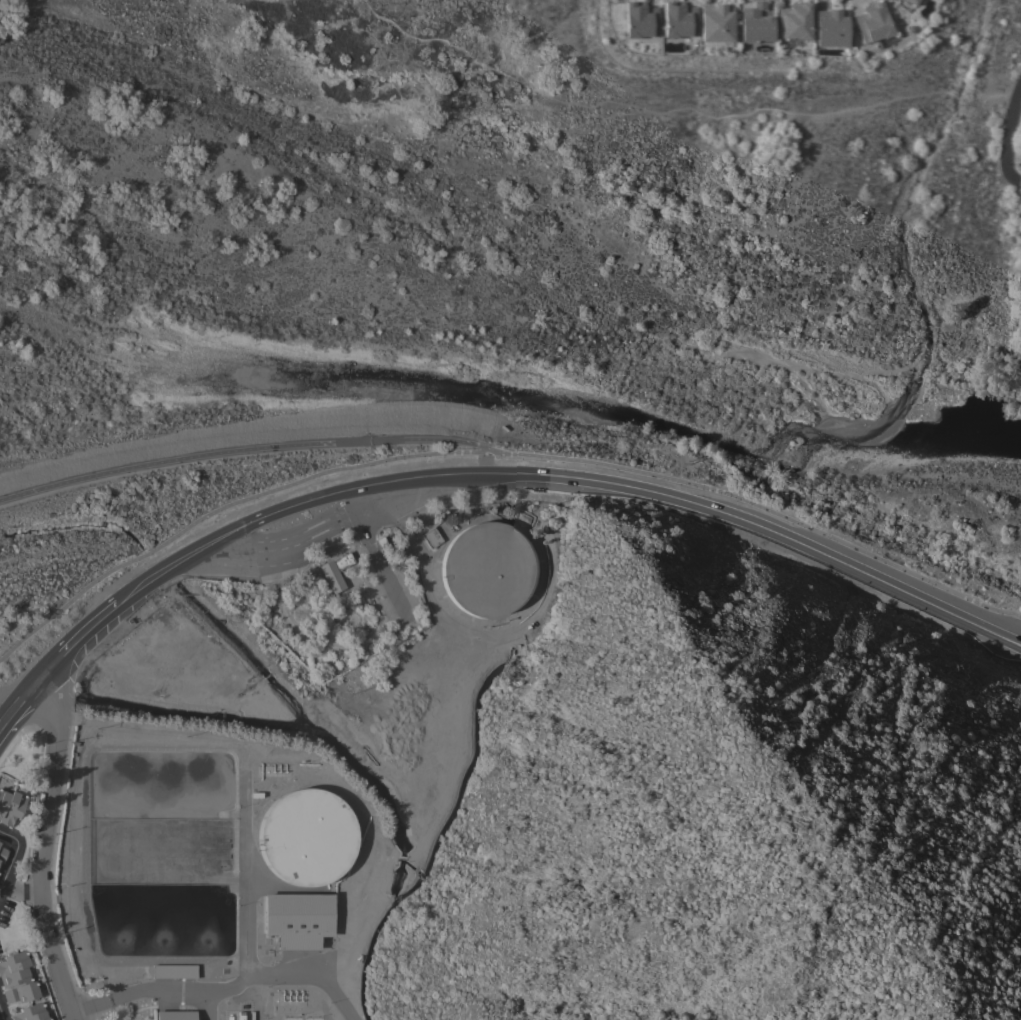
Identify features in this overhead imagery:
building: (912, 2)
building: (641, 20)
building: (679, 20)
building: (794, 22)
building: (717, 23)
building: (874, 23)
building: (756, 24)
building: (831, 28)
road: (1009, 139)
river: (139, 372)
river: (508, 394)
river: (216, 404)
road: (253, 445)
road: (570, 475)
road: (233, 501)
road: (772, 512)
building: (431, 537)
road: (373, 552)
storage tank: (488, 569)
building: (334, 572)
parking lot: (403, 585)
parking lot: (379, 598)
road: (84, 629)
road: (25, 682)
road: (27, 697)
road: (10, 701)
building: (10, 806)
water tower: (306, 836)
building: (304, 837)
road: (44, 845)
road: (11, 853)
building: (2, 854)
road: (242, 875)
road: (19, 891)
building: (297, 918)
building: (172, 971)
building: (17, 977)
road: (192, 989)
road: (206, 1005)
building: (30, 1012)
building: (175, 1015)
road: (0, 1019)

